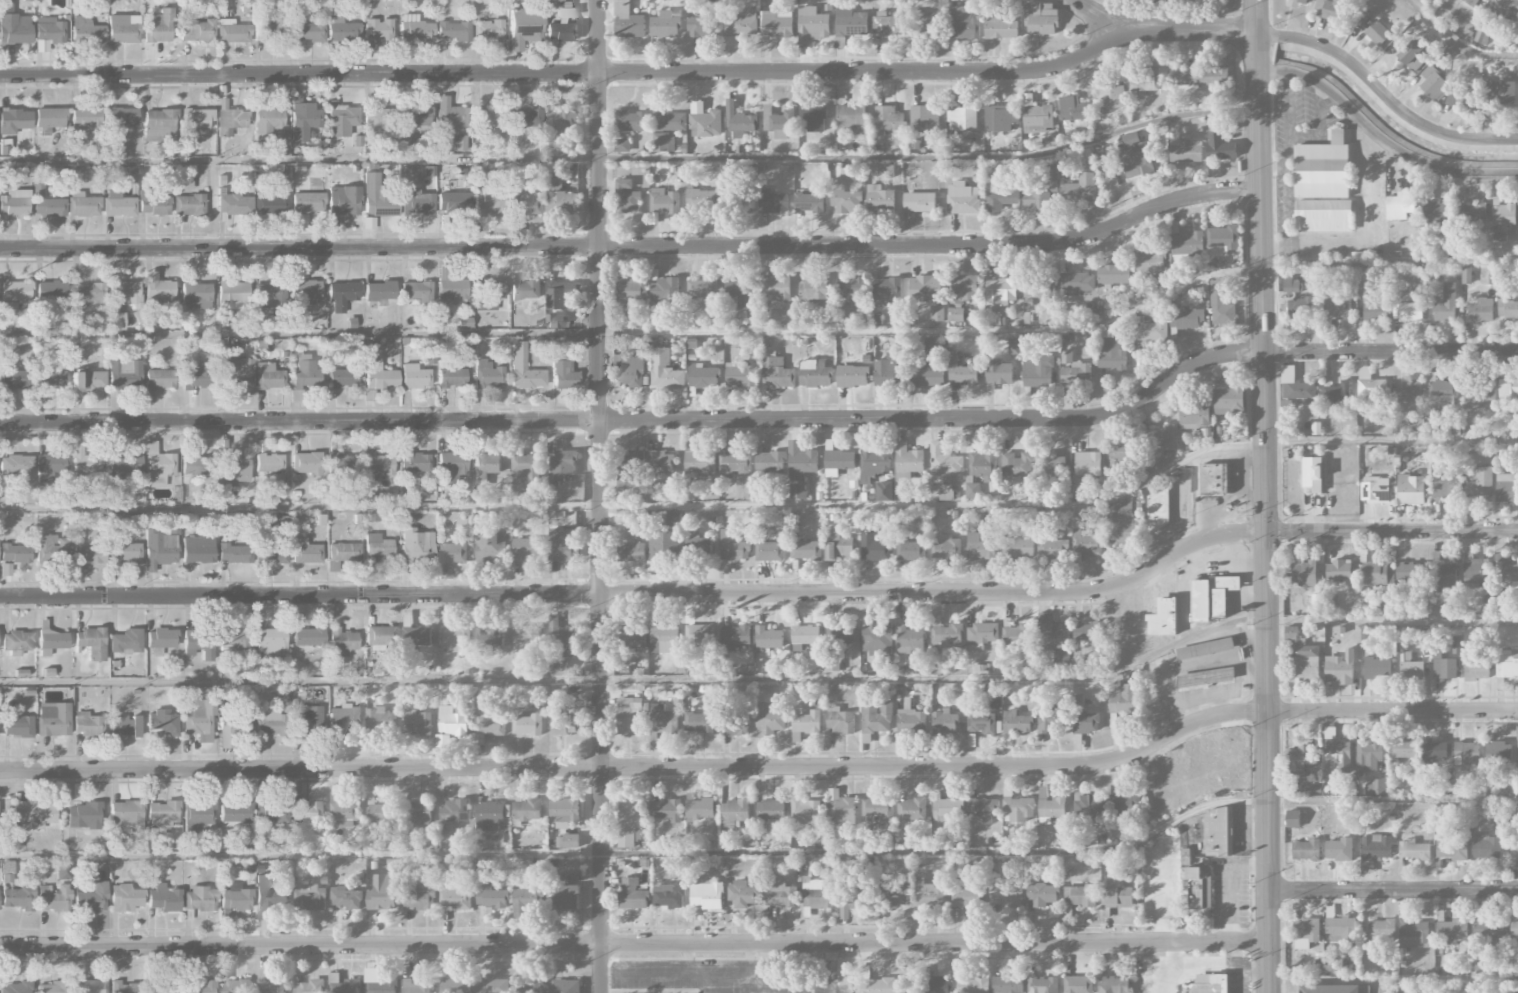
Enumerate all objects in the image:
building: (1471, 2)
building: (1298, 3)
building: (1330, 8)
building: (1504, 9)
road: (1106, 18)
building: (1040, 19)
building: (627, 21)
building: (925, 22)
building: (851, 23)
building: (666, 24)
building: (777, 24)
building: (888, 24)
building: (963, 24)
building: (13, 25)
building: (812, 25)
building: (158, 26)
building: (562, 26)
building: (524, 27)
building: (703, 27)
building: (123, 28)
building: (1000, 28)
building: (196, 29)
building: (414, 29)
building: (85, 30)
building: (269, 30)
building: (341, 30)
building: (487, 30)
building: (307, 31)
building: (452, 31)
building: (232, 32)
building: (47, 33)
building: (376, 33)
building: (1377, 33)
building: (1483, 33)
road: (1456, 43)
building: (1413, 55)
road: (633, 72)
building: (1198, 76)
building: (1146, 81)
building: (1433, 83)
building: (1109, 91)
building: (1505, 93)
road: (1384, 96)
building: (1463, 97)
road: (1289, 103)
building: (1071, 109)
building: (414, 116)
building: (50, 117)
building: (122, 117)
building: (813, 117)
building: (450, 118)
building: (487, 118)
building: (525, 118)
building: (1037, 118)
building: (341, 119)
building: (561, 119)
building: (851, 119)
building: (924, 119)
building: (961, 119)
building: (1000, 119)
building: (14, 120)
building: (195, 120)
building: (230, 120)
building: (303, 120)
building: (888, 120)
building: (377, 121)
building: (630, 121)
building: (669, 121)
building: (86, 122)
building: (705, 122)
building: (739, 122)
building: (778, 122)
road: (1318, 123)
building: (266, 124)
road: (1380, 140)
building: (458, 143)
building: (663, 144)
building: (622, 145)
building: (1220, 147)
road: (1364, 148)
road: (1288, 150)
building: (1185, 151)
road: (931, 156)
building: (1138, 157)
road: (299, 158)
road: (1273, 167)
building: (1322, 169)
building: (886, 171)
building: (1051, 173)
building: (186, 184)
building: (1079, 190)
building: (377, 197)
building: (560, 197)
building: (626, 197)
building: (963, 198)
building: (880, 199)
building: (1001, 199)
building: (703, 200)
building: (1036, 200)
building: (453, 201)
building: (488, 201)
building: (665, 201)
building: (809, 201)
building: (847, 201)
building: (342, 202)
building: (416, 202)
building: (919, 202)
building: (14, 203)
building: (152, 203)
building: (270, 203)
building: (307, 203)
building: (774, 203)
building: (45, 204)
building: (118, 204)
building: (234, 204)
building: (527, 204)
building: (82, 205)
building: (188, 205)
road: (1288, 207)
building: (1399, 207)
building: (1471, 212)
building: (1436, 213)
building: (1503, 214)
building: (1323, 215)
building: (1222, 241)
building: (1188, 244)
road: (1346, 245)
road: (634, 247)
building: (1149, 262)
building: (1114, 274)
building: (1077, 282)
building: (1291, 285)
building: (157, 287)
building: (451, 288)
building: (776, 288)
building: (927, 288)
building: (50, 290)
building: (416, 290)
building: (526, 290)
building: (702, 290)
building: (850, 290)
building: (1036, 290)
building: (379, 291)
building: (812, 291)
building: (887, 291)
building: (87, 292)
building: (630, 292)
building: (666, 292)
building: (737, 292)
building: (1000, 292)
building: (269, 294)
building: (305, 294)
building: (487, 294)
building: (196, 295)
building: (233, 295)
building: (341, 295)
building: (561, 295)
building: (962, 295)
building: (14, 299)
building: (1339, 304)
building: (1446, 304)
building: (112, 308)
building: (1299, 308)
building: (1508, 309)
building: (1221, 310)
building: (1374, 310)
building: (1481, 311)
building: (1407, 312)
building: (937, 314)
building: (1186, 318)
building: (556, 321)
road: (636, 331)
building: (1152, 332)
building: (935, 346)
building: (1013, 346)
building: (1112, 355)
building: (629, 368)
building: (523, 369)
building: (664, 372)
building: (777, 372)
building: (890, 372)
building: (927, 372)
building: (962, 372)
building: (1038, 372)
building: (1074, 372)
building: (49, 373)
building: (235, 373)
building: (304, 373)
building: (562, 373)
building: (815, 373)
building: (998, 373)
building: (123, 374)
building: (487, 374)
building: (195, 375)
building: (379, 375)
building: (740, 375)
building: (268, 376)
building: (414, 376)
building: (703, 376)
building: (852, 376)
building: (452, 377)
building: (342, 378)
building: (13, 379)
building: (159, 379)
building: (89, 380)
building: (1370, 389)
building: (1298, 390)
building: (1508, 392)
building: (1337, 393)
building: (1479, 393)
building: (1441, 394)
building: (1407, 398)
building: (1228, 400)
building: (1194, 415)
road: (766, 419)
building: (1160, 439)
building: (1119, 457)
building: (86, 460)
building: (633, 460)
building: (484, 461)
building: (801, 461)
building: (944, 461)
building: (268, 462)
building: (412, 462)
building: (838, 462)
building: (874, 462)
building: (908, 462)
building: (306, 463)
building: (340, 463)
building: (771, 463)
building: (983, 463)
building: (15, 464)
building: (124, 464)
building: (700, 464)
building: (735, 464)
building: (1088, 464)
building: (661, 465)
building: (1018, 465)
building: (50, 466)
building: (452, 466)
building: (561, 466)
building: (377, 467)
building: (526, 467)
building: (1052, 467)
building: (158, 468)
building: (195, 468)
building: (233, 468)
building: (1312, 474)
building: (1212, 479)
building: (1480, 483)
building: (1445, 485)
building: (972, 488)
building: (1506, 488)
building: (1410, 489)
building: (1375, 490)
building: (798, 491)
road: (599, 496)
road: (1265, 496)
road: (639, 505)
building: (674, 518)
building: (1123, 524)
traffic signals: (1266, 532)
building: (1087, 542)
building: (376, 544)
building: (627, 544)
road: (1279, 544)
building: (416, 545)
building: (563, 545)
building: (665, 545)
building: (490, 546)
building: (839, 546)
building: (698, 547)
building: (734, 547)
building: (1055, 547)
building: (51, 548)
building: (161, 548)
building: (198, 548)
building: (271, 548)
building: (524, 548)
building: (875, 548)
building: (946, 548)
building: (980, 548)
building: (1018, 548)
building: (84, 549)
building: (806, 550)
building: (344, 551)
building: (769, 551)
building: (911, 551)
building: (125, 552)
building: (15, 553)
building: (233, 553)
building: (307, 553)
building: (452, 553)
building: (1338, 570)
building: (1476, 571)
building: (1304, 573)
building: (1410, 573)
building: (1507, 573)
building: (1378, 577)
building: (1445, 578)
road: (765, 595)
building: (1211, 596)
building: (1163, 618)
building: (1089, 633)
building: (840, 634)
building: (1015, 634)
building: (981, 635)
building: (308, 636)
building: (416, 636)
building: (805, 636)
building: (947, 636)
building: (379, 637)
building: (524, 637)
building: (631, 637)
building: (698, 637)
building: (735, 637)
building: (876, 637)
building: (160, 638)
building: (454, 638)
building: (488, 638)
building: (665, 638)
building: (769, 638)
building: (1054, 638)
building: (233, 640)
building: (51, 641)
building: (126, 641)
building: (558, 641)
building: (910, 641)
building: (16, 642)
building: (91, 642)
building: (270, 642)
building: (342, 642)
building: (199, 643)
building: (1456, 645)
building: (1205, 649)
building: (1301, 657)
building: (832, 663)
building: (1507, 665)
building: (1444, 667)
building: (1340, 668)
building: (1377, 668)
building: (1410, 668)
building: (1476, 669)
road: (638, 677)
building: (1205, 677)
building: (1123, 698)
building: (560, 713)
building: (629, 715)
building: (307, 718)
building: (379, 718)
building: (876, 718)
building: (53, 719)
building: (271, 719)
building: (346, 719)
building: (769, 719)
building: (199, 720)
building: (839, 720)
building: (911, 720)
building: (1049, 720)
building: (662, 721)
building: (699, 722)
building: (944, 722)
building: (1016, 722)
building: (162, 723)
building: (416, 723)
building: (451, 723)
building: (489, 723)
building: (983, 723)
building: (1086, 723)
building: (86, 724)
building: (17, 725)
building: (125, 725)
building: (527, 725)
building: (805, 725)
building: (734, 726)
building: (233, 729)
building: (1402, 748)
building: (1434, 749)
building: (1499, 752)
building: (1466, 753)
building: (1338, 754)
building: (1368, 754)
building: (1301, 758)
road: (764, 767)
building: (1375, 788)
building: (1104, 806)
building: (699, 808)
building: (1017, 808)
building: (803, 809)
building: (877, 809)
building: (911, 809)
building: (665, 810)
building: (770, 810)
building: (983, 810)
building: (1051, 810)
building: (343, 811)
building: (453, 811)
building: (526, 811)
building: (842, 811)
building: (35, 812)
building: (564, 812)
building: (735, 812)
building: (162, 813)
building: (308, 813)
building: (417, 813)
building: (197, 814)
building: (236, 814)
building: (270, 814)
building: (83, 816)
building: (125, 816)
building: (489, 816)
building: (1461, 817)
building: (380, 819)
building: (1293, 819)
building: (629, 822)
building: (1218, 832)
building: (571, 841)
building: (1451, 844)
building: (1485, 846)
building: (1375, 848)
building: (1339, 849)
building: (1306, 850)
building: (1413, 850)
building: (1513, 851)
road: (300, 854)
building: (63, 871)
road: (1393, 890)
building: (566, 892)
building: (1199, 892)
building: (270, 893)
building: (383, 893)
building: (632, 894)
building: (780, 894)
building: (816, 894)
building: (894, 894)
building: (929, 894)
building: (1004, 894)
building: (1042, 894)
building: (707, 895)
building: (743, 895)
building: (1116, 895)
building: (1079, 896)
building: (90, 897)
building: (668, 897)
building: (966, 897)
building: (18, 898)
building: (53, 898)
building: (126, 898)
building: (163, 898)
building: (235, 898)
building: (309, 898)
building: (345, 898)
building: (456, 898)
building: (492, 898)
building: (199, 899)
building: (419, 899)
building: (850, 899)
building: (523, 902)
building: (1341, 929)
building: (1306, 930)
building: (1381, 930)
building: (1452, 930)
building: (1489, 930)
building: (1515, 932)
building: (1413, 934)
road: (634, 945)
road: (688, 958)
road: (829, 968)
road: (700, 972)
road: (718, 982)
road: (757, 983)
building: (876, 983)
building: (269, 984)
building: (343, 984)
building: (935, 984)
building: (1008, 984)
building: (1076, 984)
building: (1206, 984)
building: (381, 985)
building: (972, 985)
building: (1042, 985)
building: (1113, 985)
building: (235, 986)
building: (456, 986)
building: (493, 986)
building: (565, 986)
building: (53, 987)
building: (89, 987)
building: (125, 987)
building: (200, 987)
building: (310, 987)
building: (417, 987)
building: (528, 987)
building: (15, 988)
building: (1511, 988)
building: (1334, 989)
building: (1386, 989)
building: (1424, 989)
building: (165, 990)

